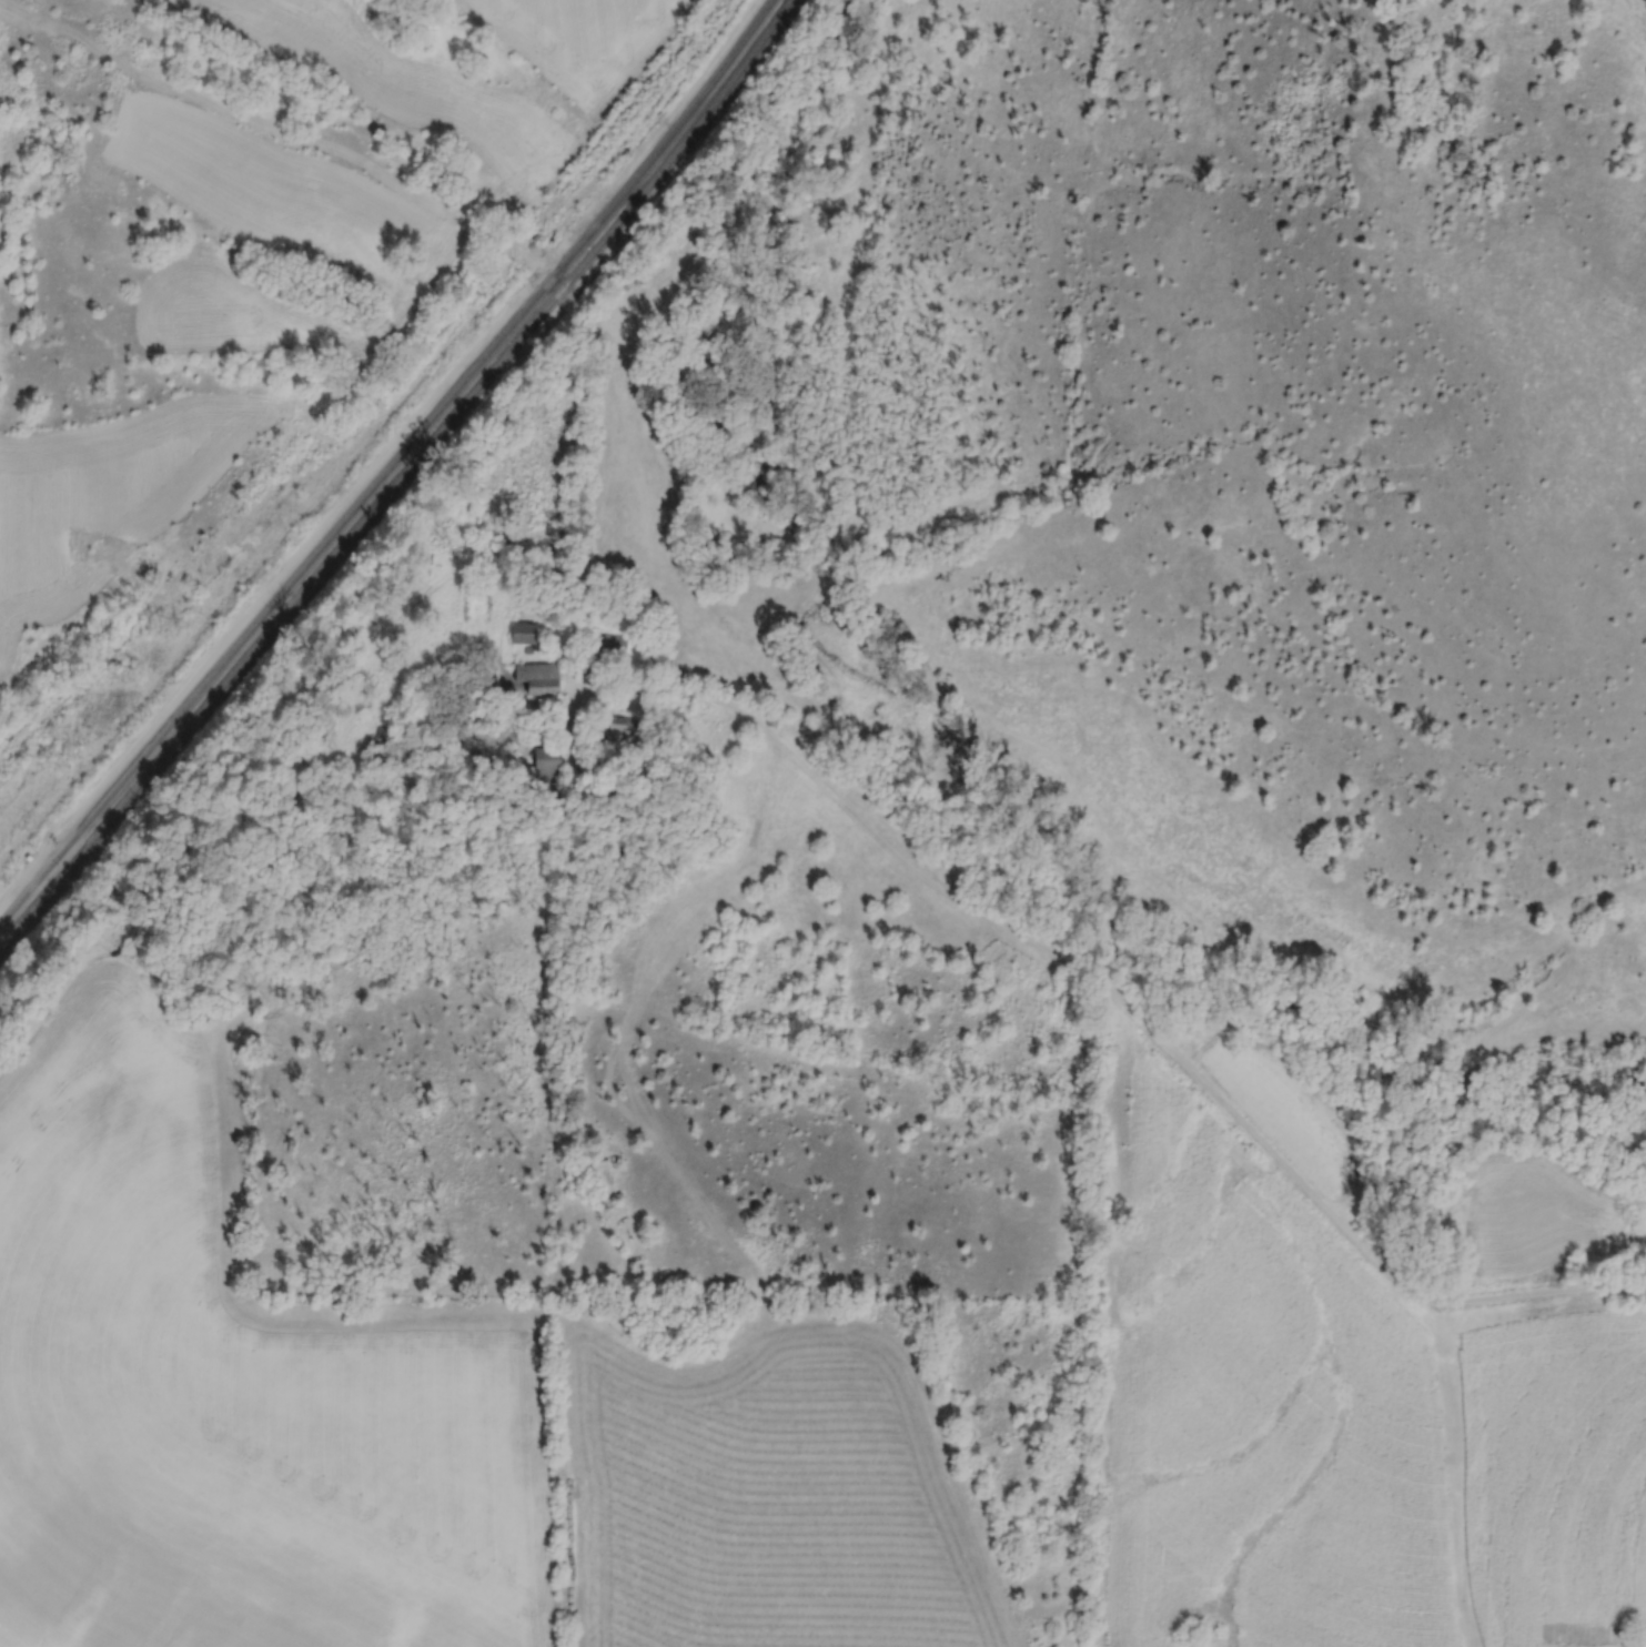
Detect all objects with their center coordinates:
road: (361, 117)
railway: (385, 468)
railway: (394, 478)
building: (526, 634)
building: (616, 645)
building: (542, 678)
building: (775, 723)
building: (625, 728)
building: (390, 739)
building: (551, 766)
road: (1117, 1007)

